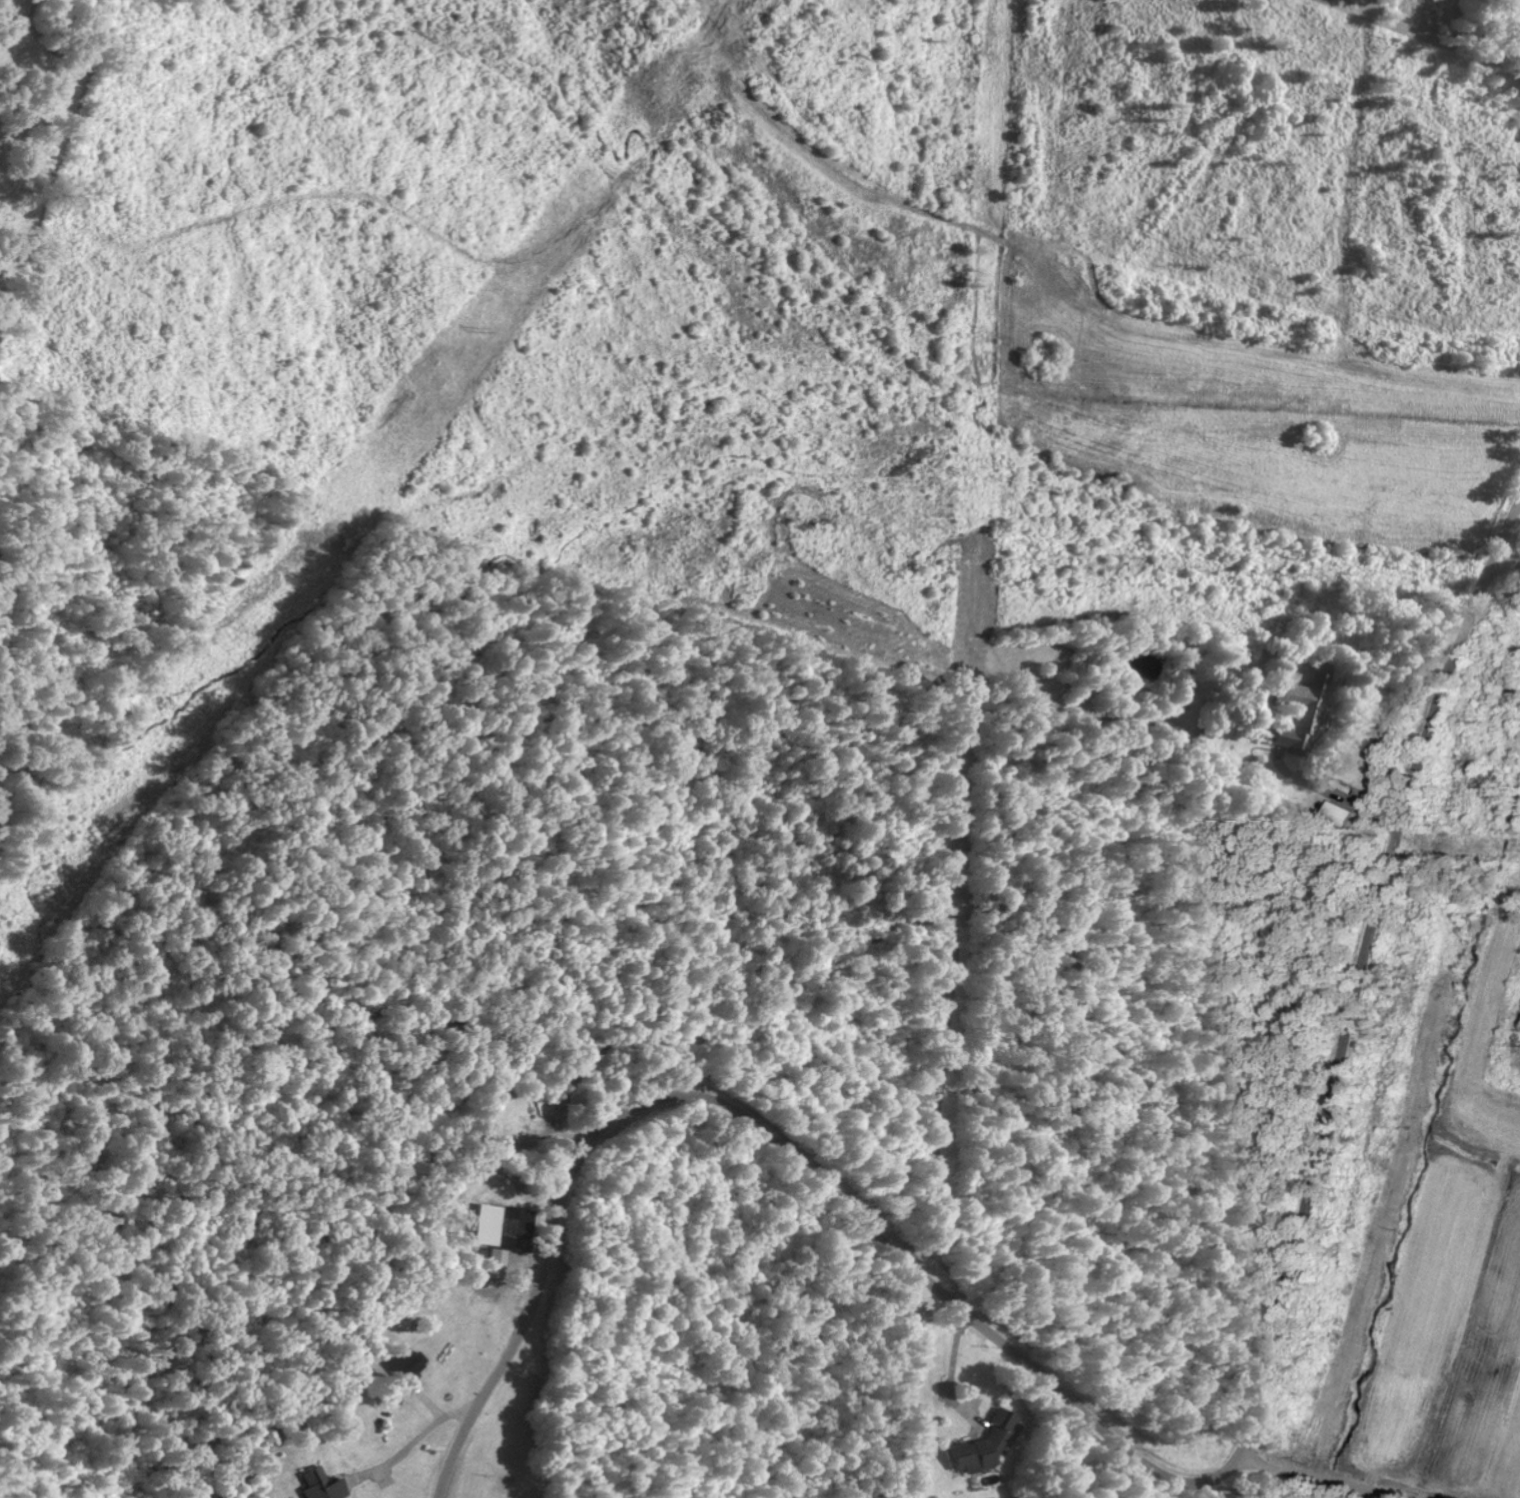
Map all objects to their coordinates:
road: (1509, 550)
building: (1303, 711)
road: (1328, 795)
building: (1342, 812)
building: (504, 1234)
road: (884, 1388)
road: (413, 1443)
building: (989, 1443)
road: (1144, 1454)
road: (1290, 1477)
building: (325, 1485)

